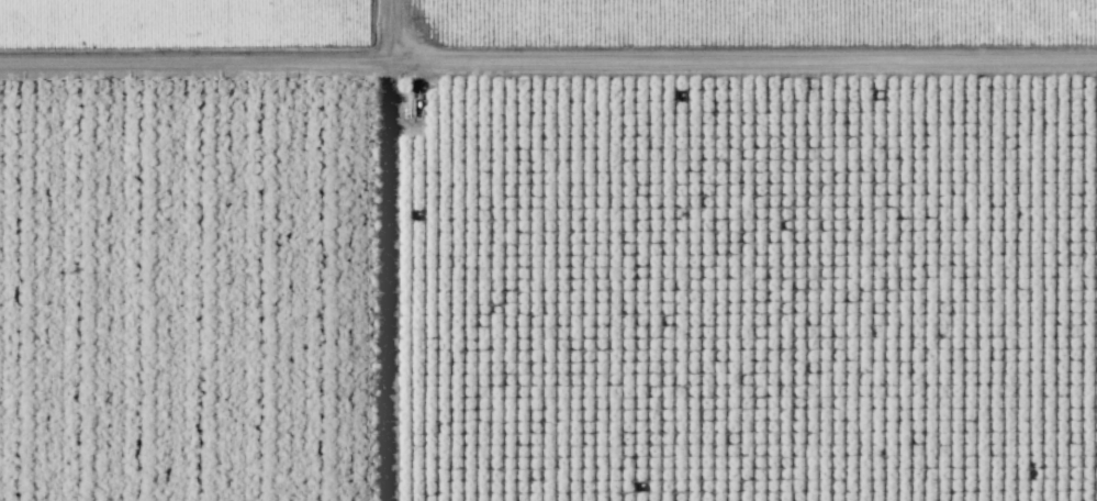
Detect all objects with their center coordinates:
crop: (195, 52)
road: (548, 71)
road: (346, 249)

